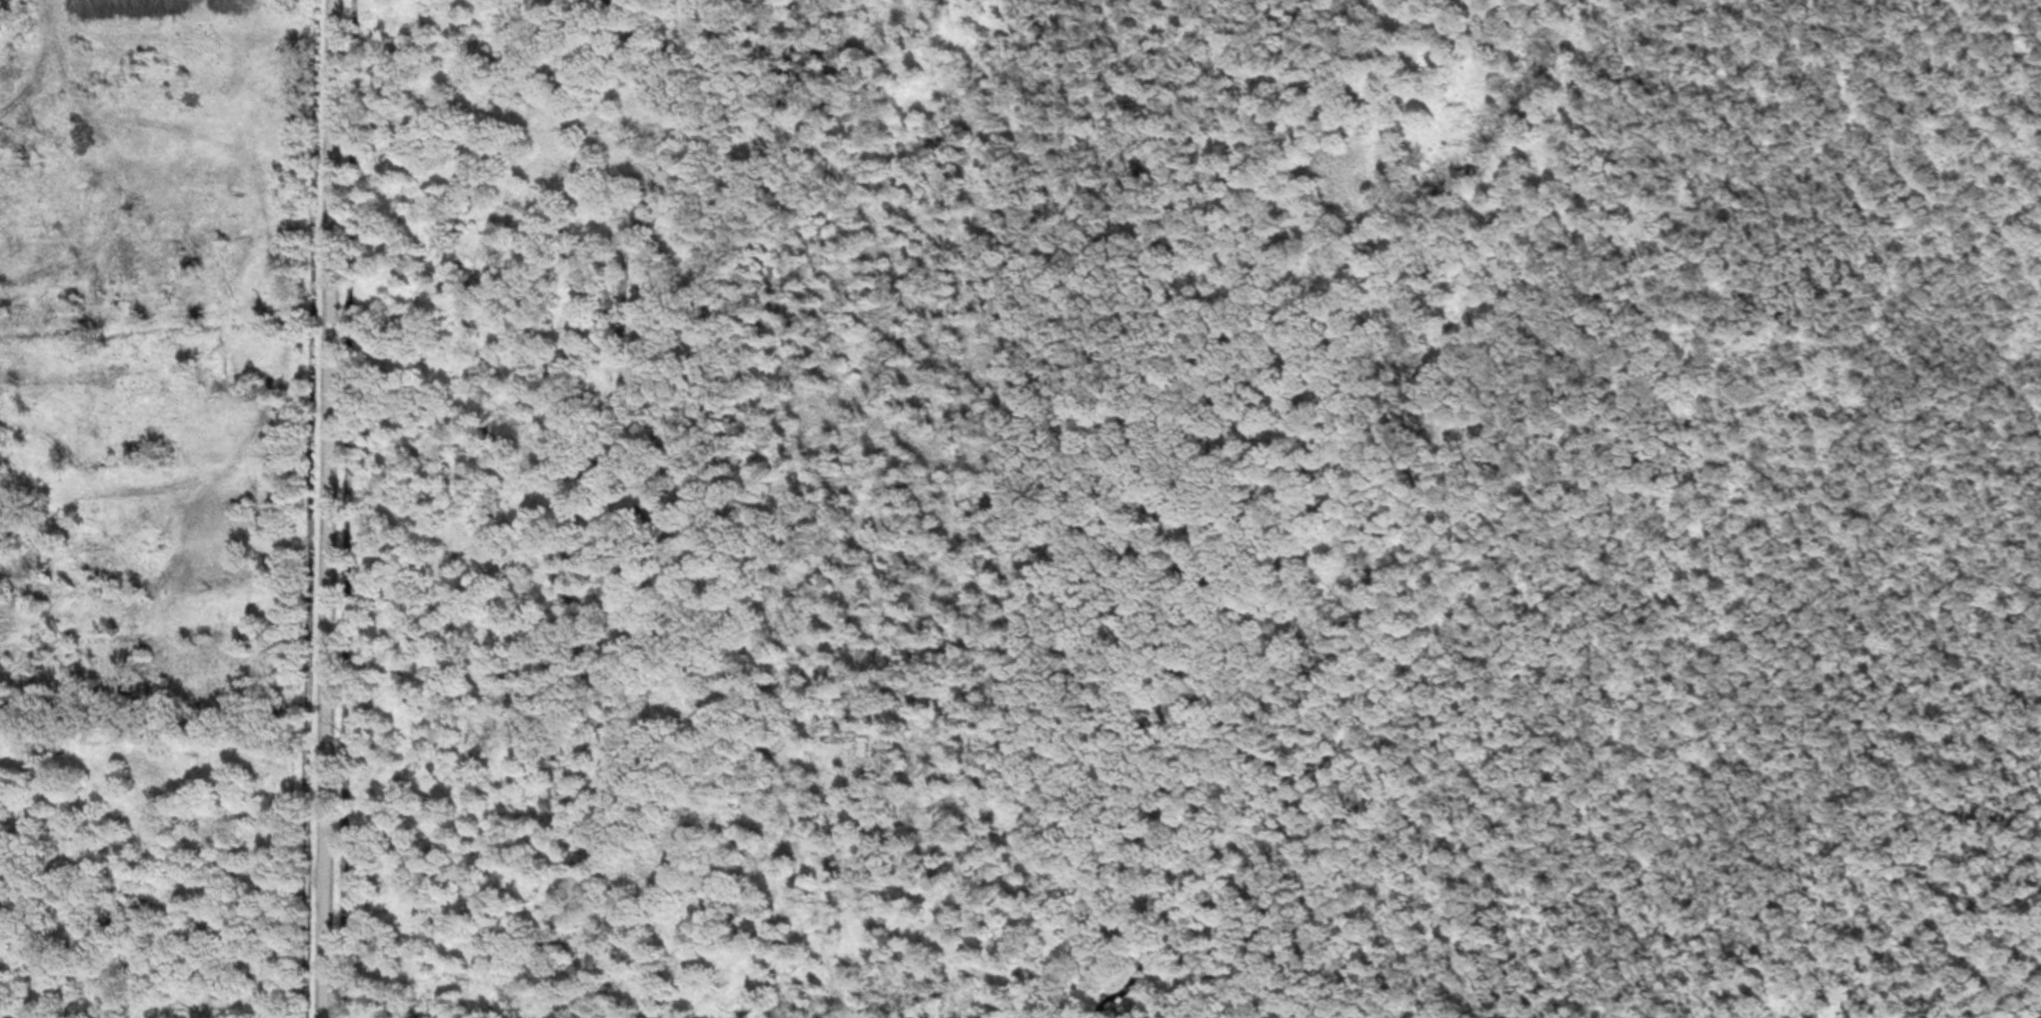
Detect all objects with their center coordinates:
road: (326, 509)

